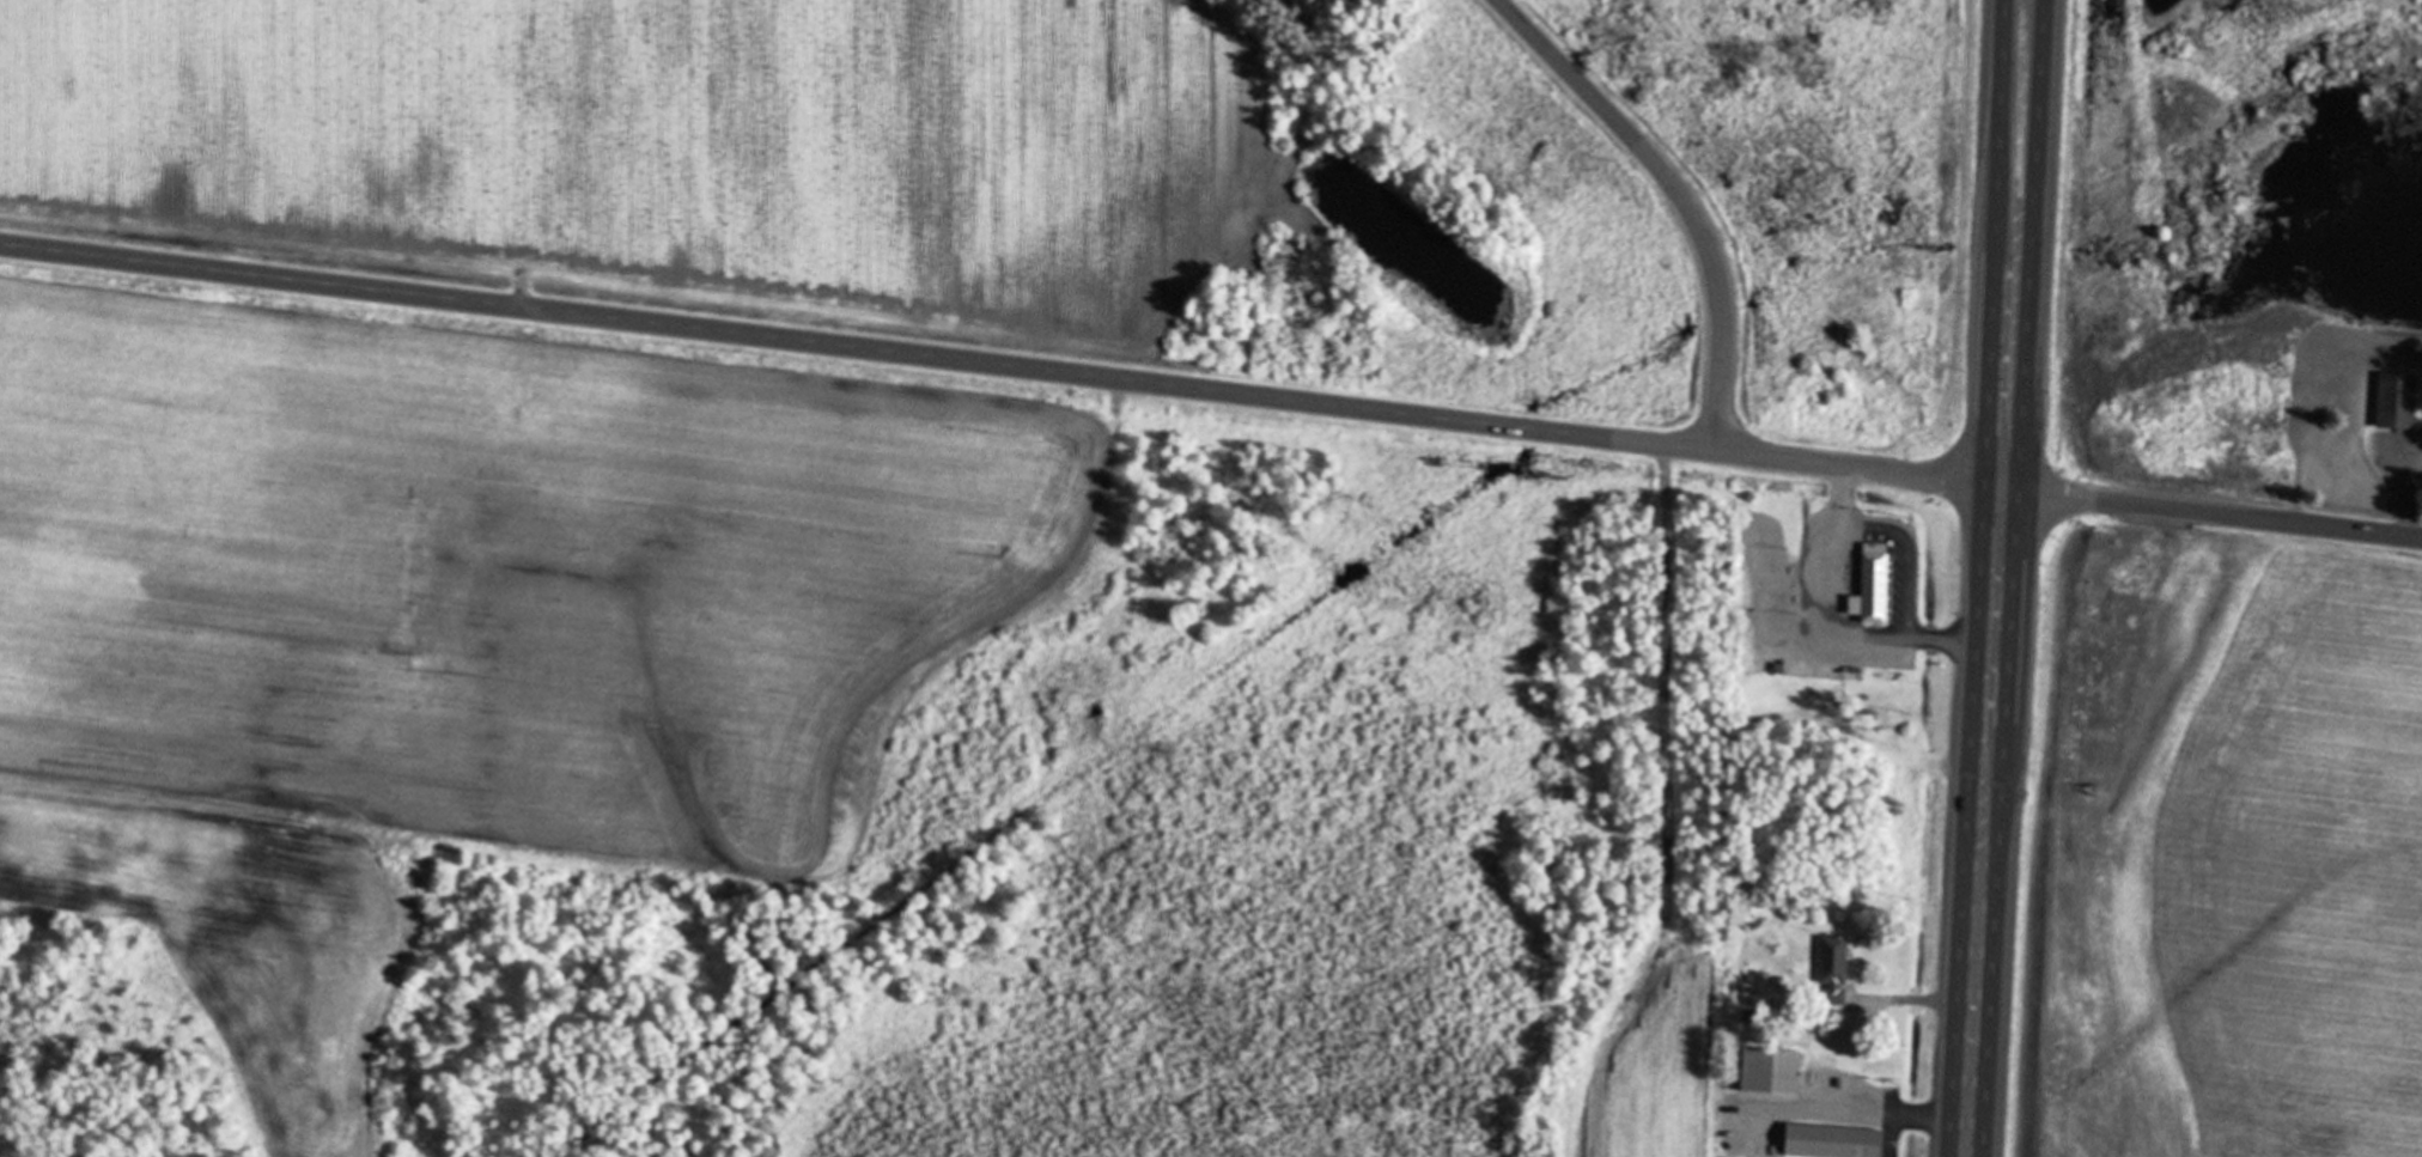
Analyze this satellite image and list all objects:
road: (1678, 194)
road: (1995, 244)
road: (2032, 245)
road: (998, 366)
building: (2399, 402)
road: (2415, 492)
road: (1839, 501)
road: (2209, 514)
building: (1875, 587)
road: (1982, 823)
crop: (2214, 847)
building: (1836, 973)
road: (1928, 1004)
building: (1775, 1072)
road: (1921, 1116)
building: (1836, 1141)

